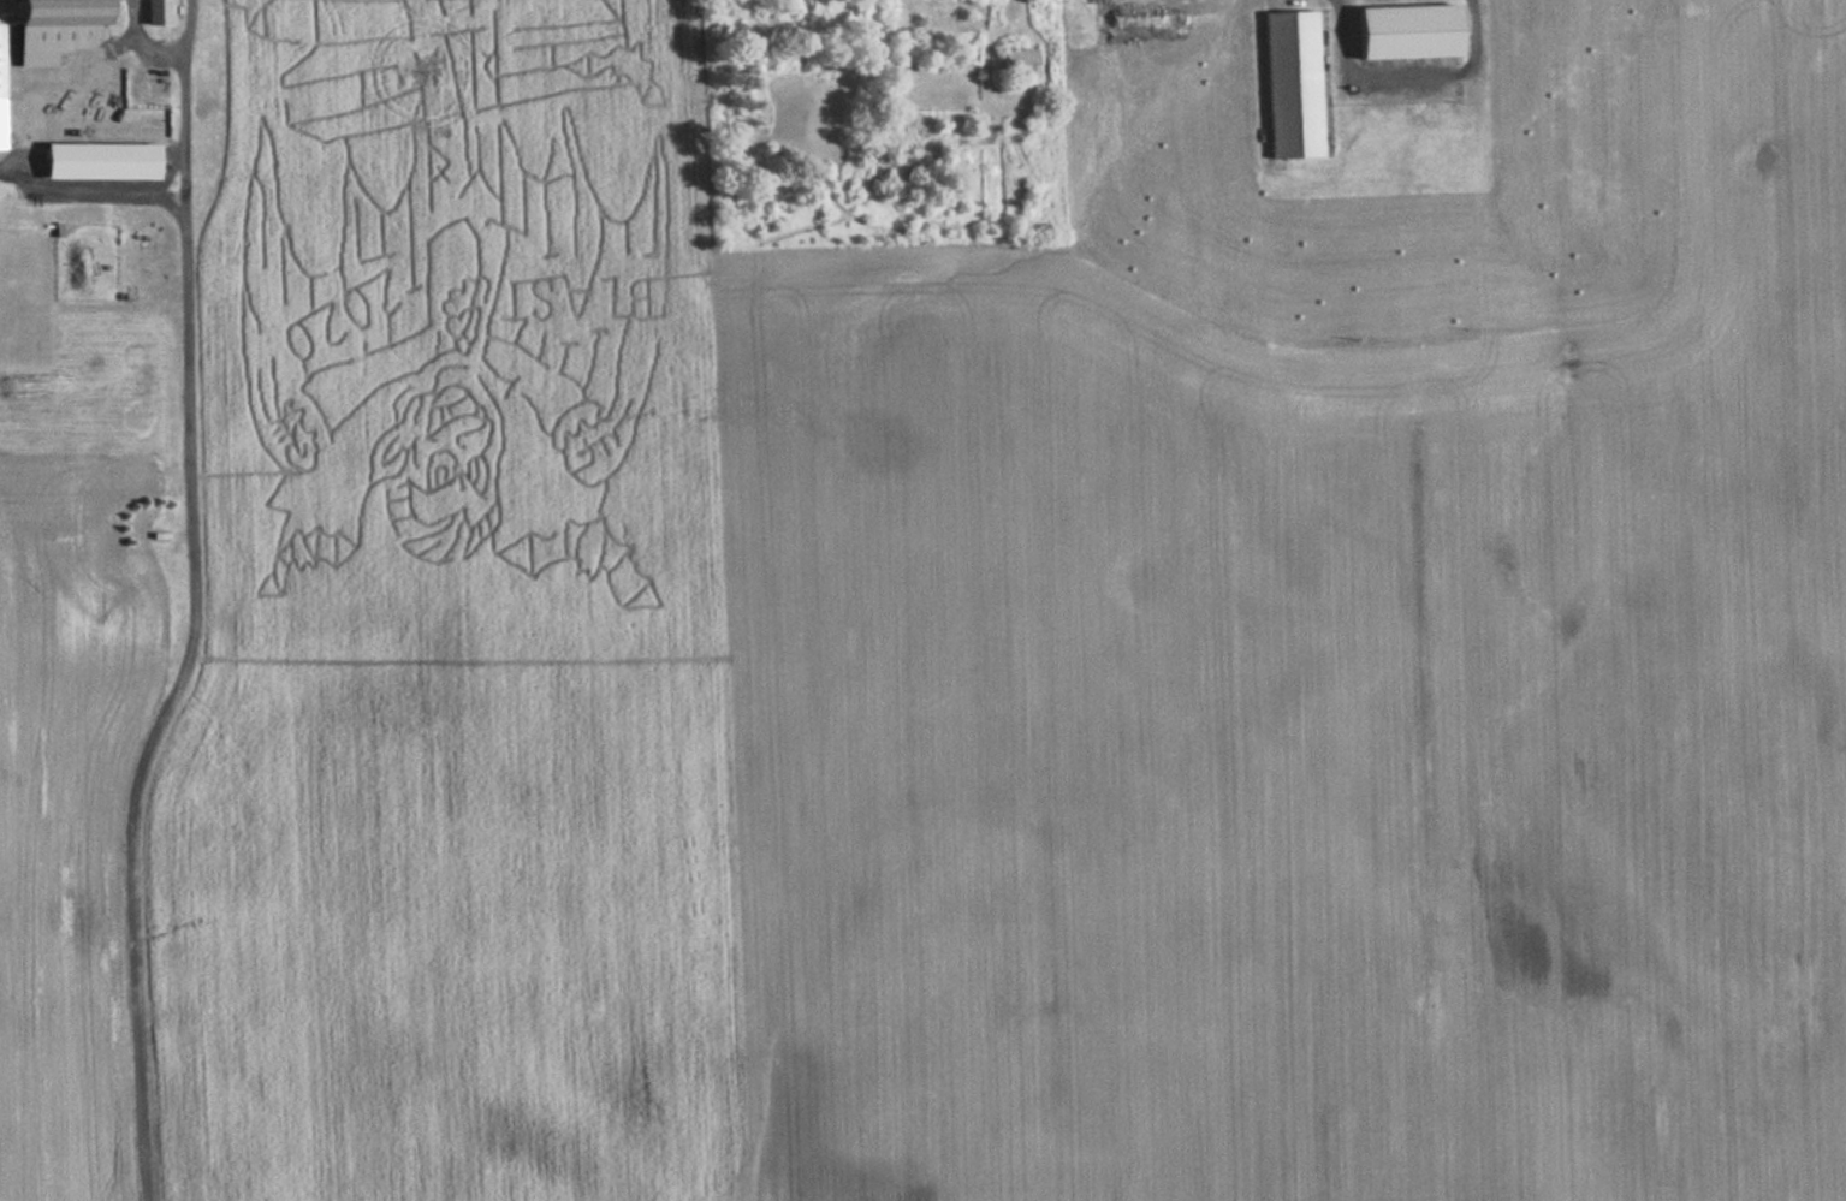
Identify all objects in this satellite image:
building: (61, 11)
building: (155, 12)
building: (1407, 31)
road: (143, 40)
building: (48, 41)
building: (1017, 61)
building: (1295, 83)
building: (0, 91)
building: (99, 160)
road: (171, 172)
road: (93, 195)
road: (191, 605)

